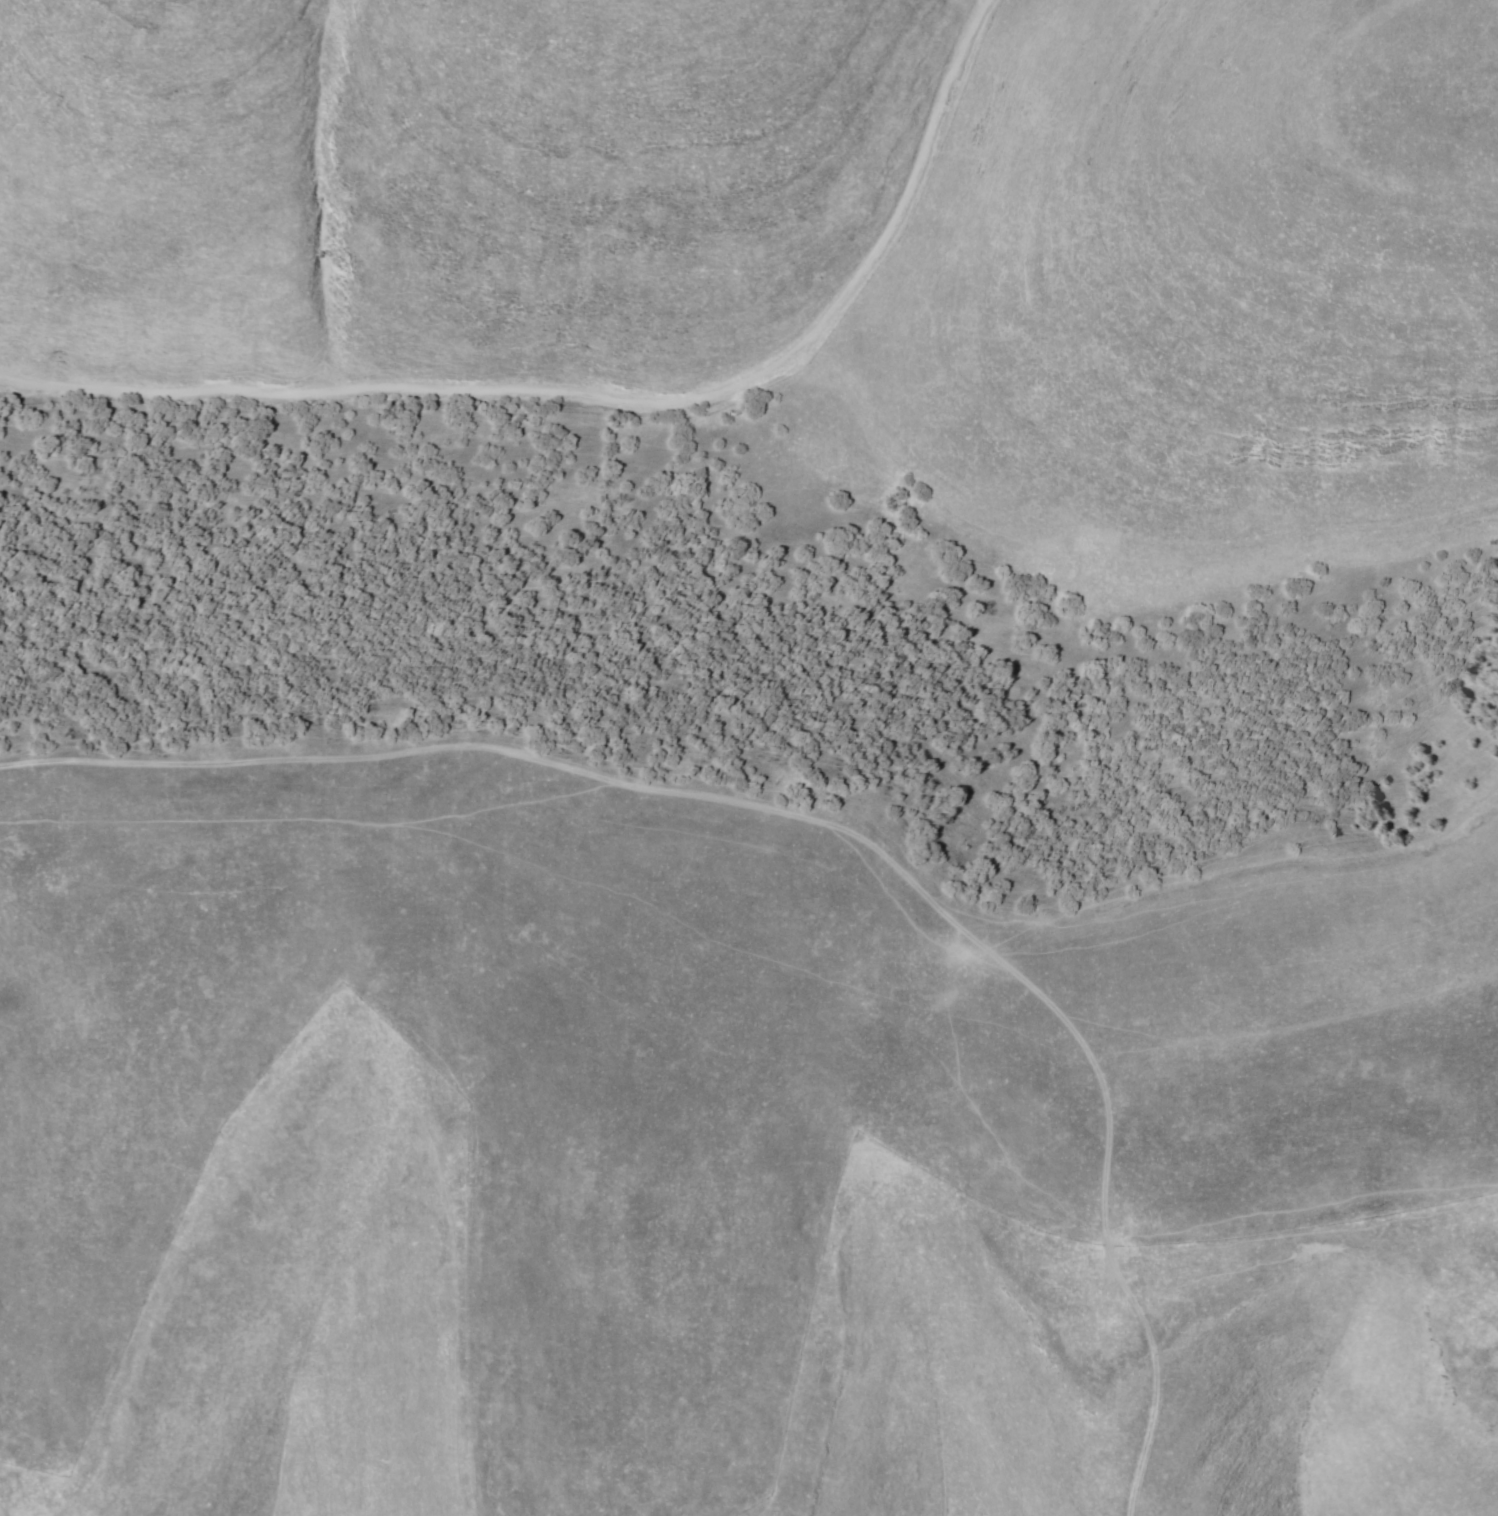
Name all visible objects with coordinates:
road: (1146, 1453)

